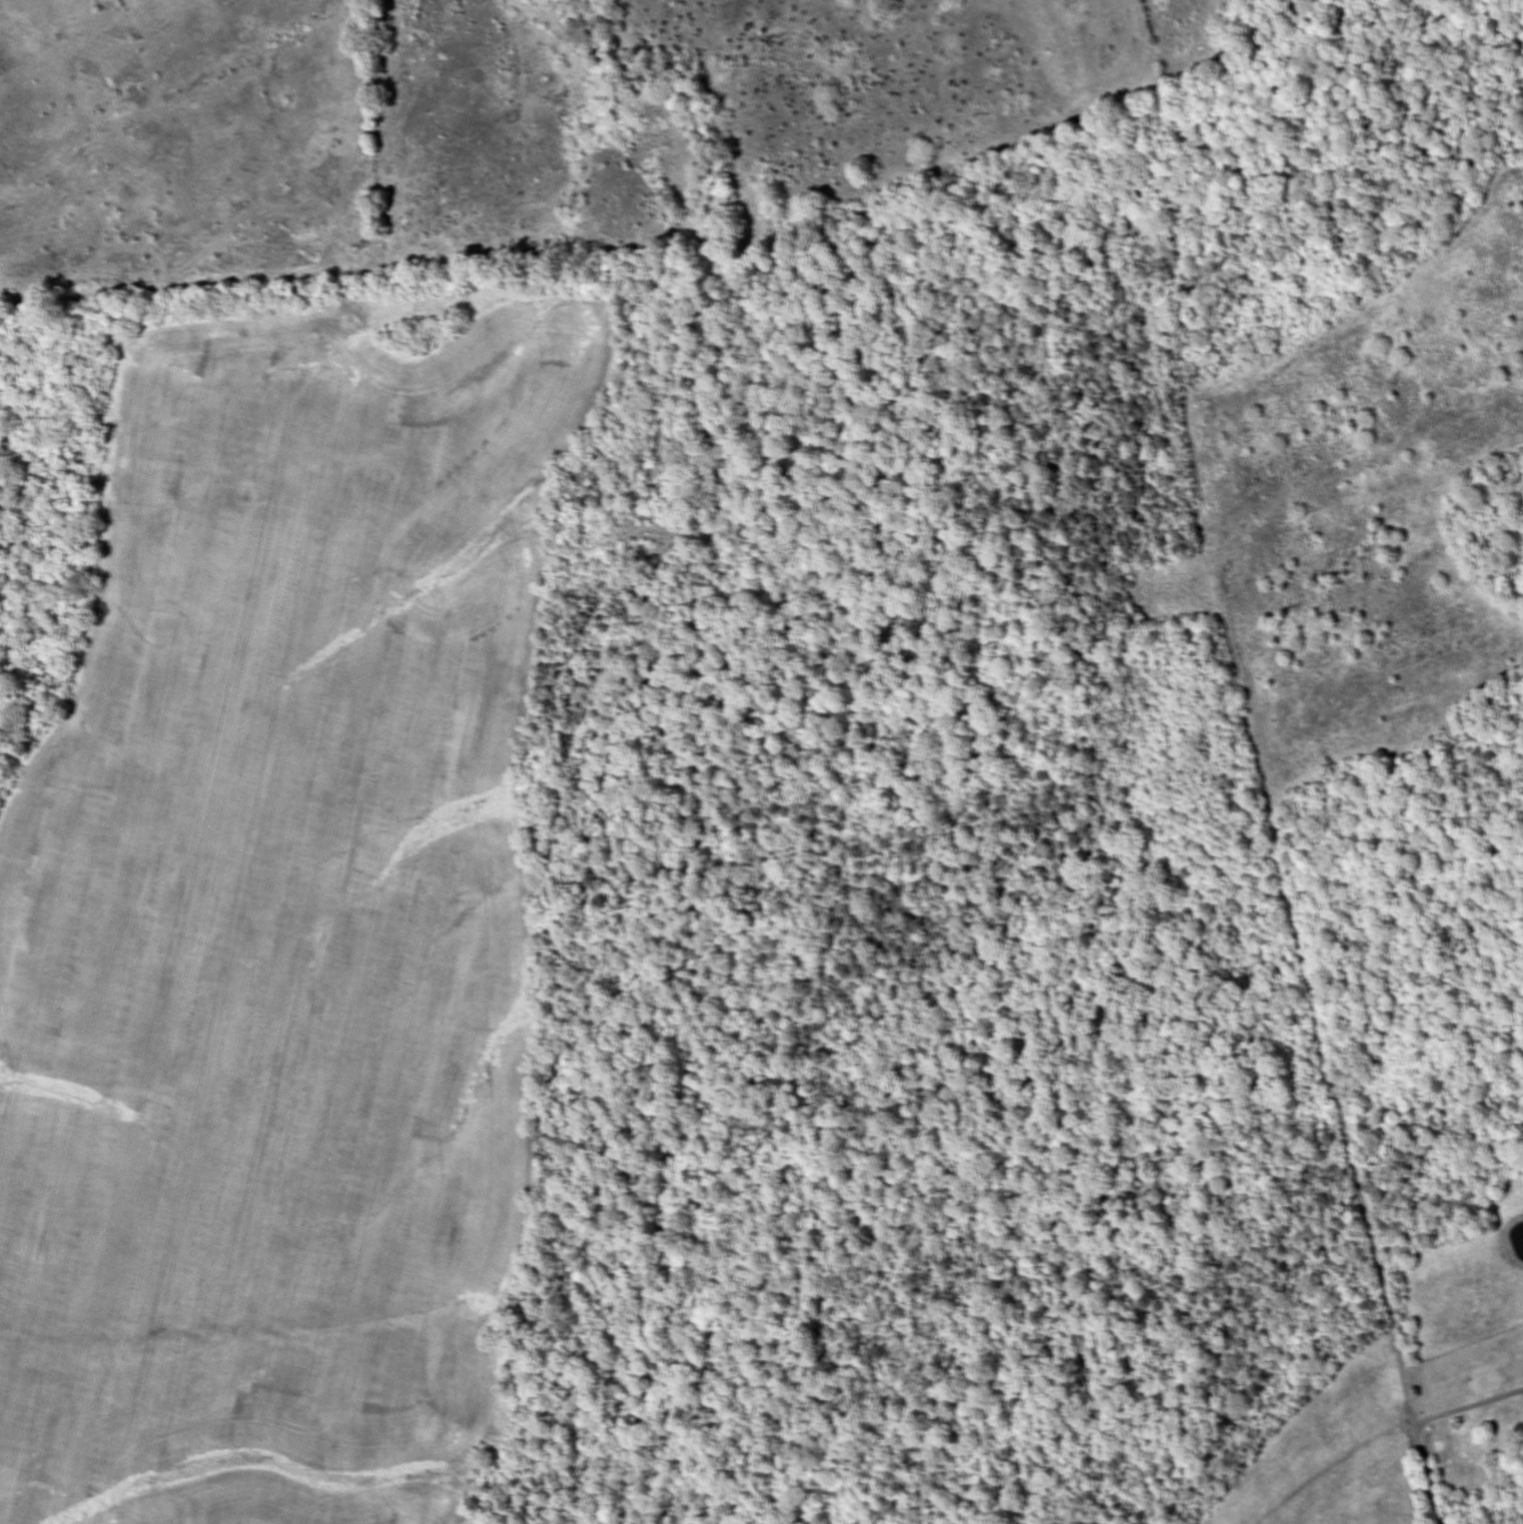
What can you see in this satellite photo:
road: (1421, 1423)

